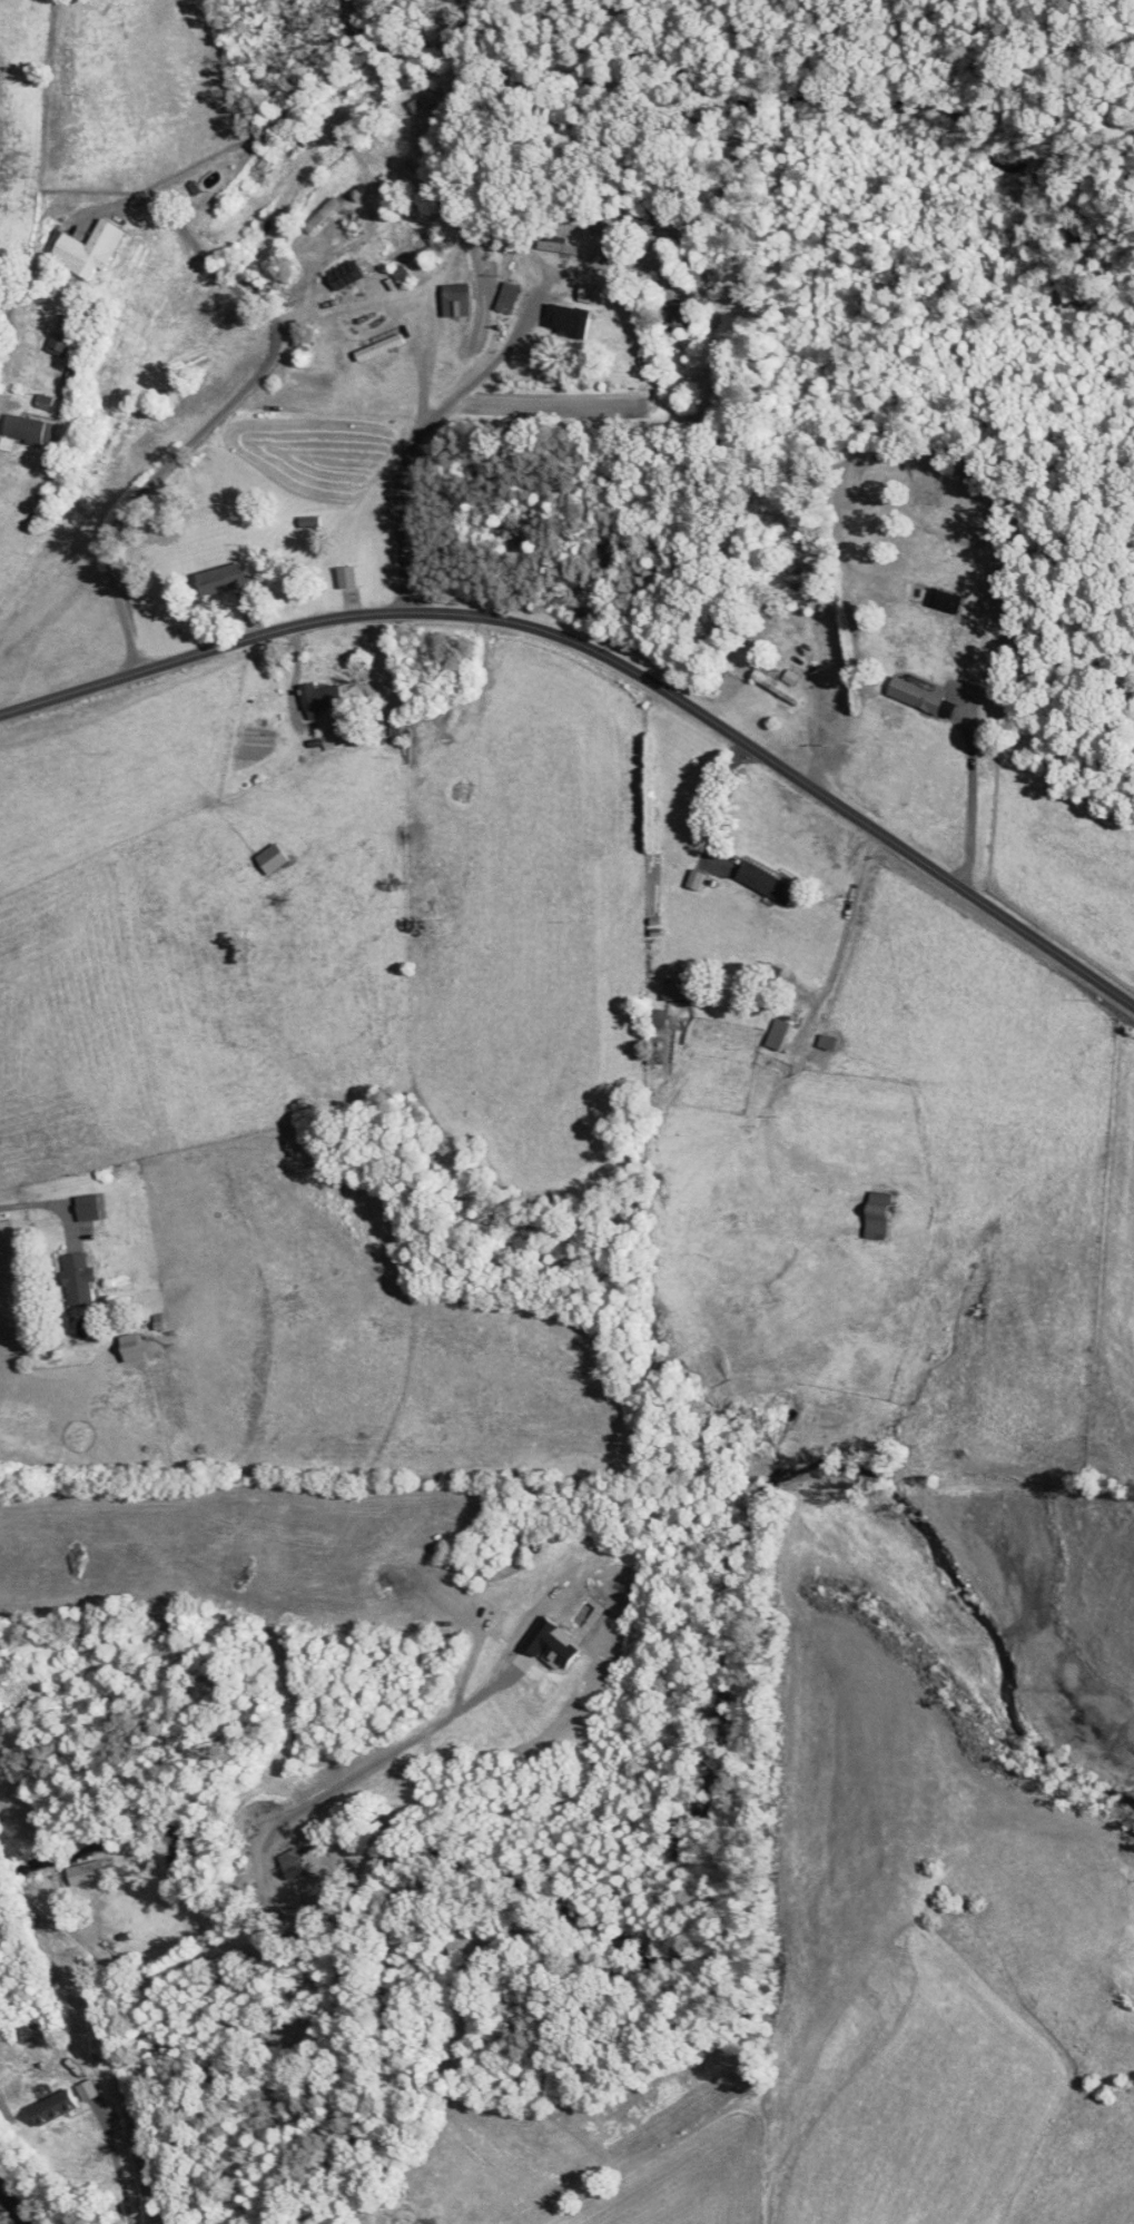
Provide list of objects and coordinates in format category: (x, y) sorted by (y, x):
building: (433, 99)
building: (323, 214)
building: (560, 245)
building: (90, 248)
building: (625, 250)
building: (593, 293)
building: (511, 297)
building: (457, 299)
building: (682, 319)
building: (572, 321)
building: (68, 334)
road: (426, 353)
road: (260, 370)
building: (80, 374)
road: (464, 390)
building: (49, 402)
road: (2, 405)
building: (29, 431)
building: (310, 522)
building: (352, 577)
building: (228, 579)
building: (946, 600)
road: (608, 657)
building: (777, 687)
building: (918, 695)
building: (322, 698)
road: (969, 797)
building: (768, 883)
building: (730, 983)
building: (680, 992)
building: (659, 1017)
building: (780, 1034)
road: (791, 1054)
road: (52, 1206)
building: (882, 1216)
building: (81, 1278)
building: (137, 1346)
building: (90, 1872)
road: (264, 1906)
road: (118, 2165)
road: (11, 2206)

